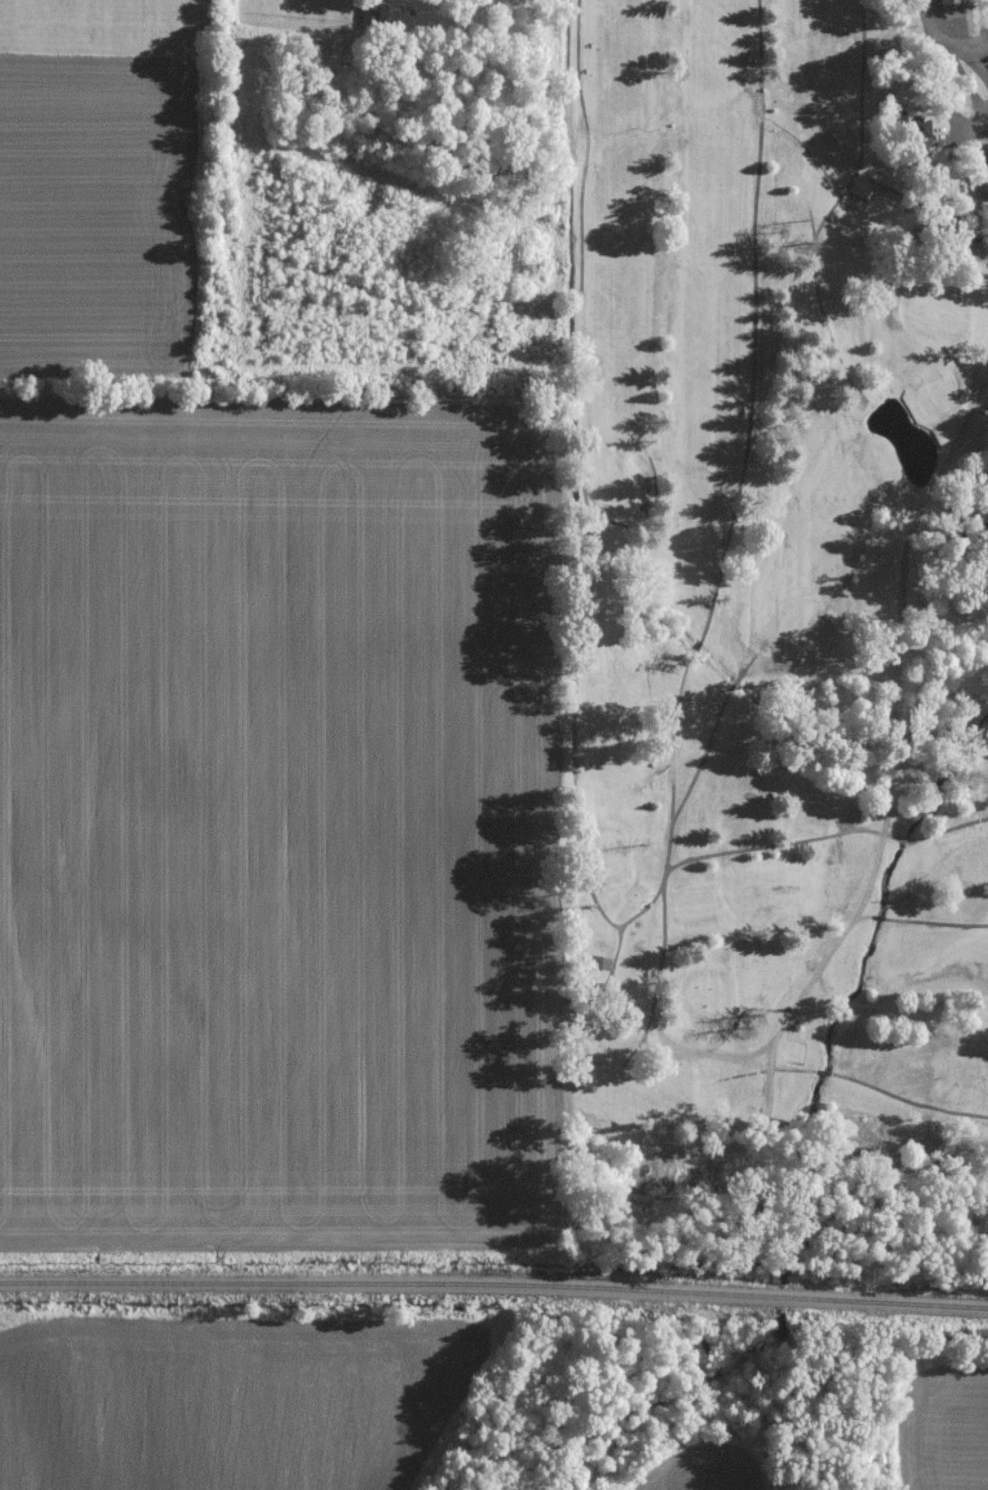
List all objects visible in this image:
building: (951, 5)
road: (941, 25)
building: (918, 144)
road: (969, 156)
building: (983, 167)
road: (854, 168)
road: (580, 321)
road: (747, 411)
road: (906, 540)
park: (781, 640)
road: (569, 752)
road: (697, 760)
road: (826, 834)
road: (662, 898)
road: (920, 920)
road: (826, 955)
road: (758, 1008)
road: (856, 1079)
railway: (494, 1289)

